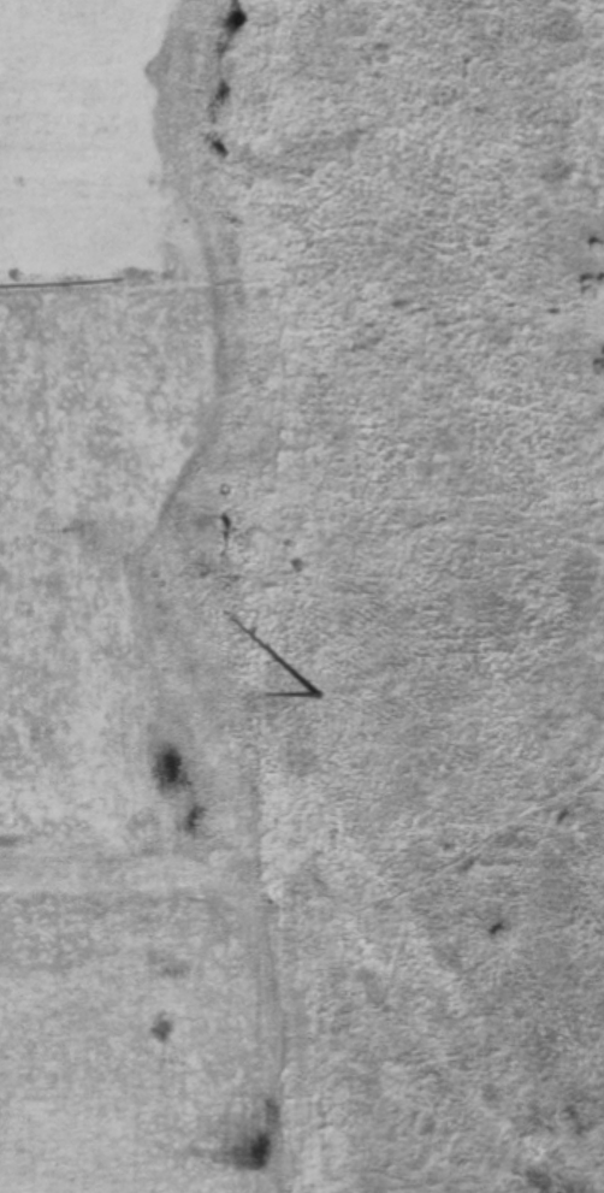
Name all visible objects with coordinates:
power tower: (314, 697)

